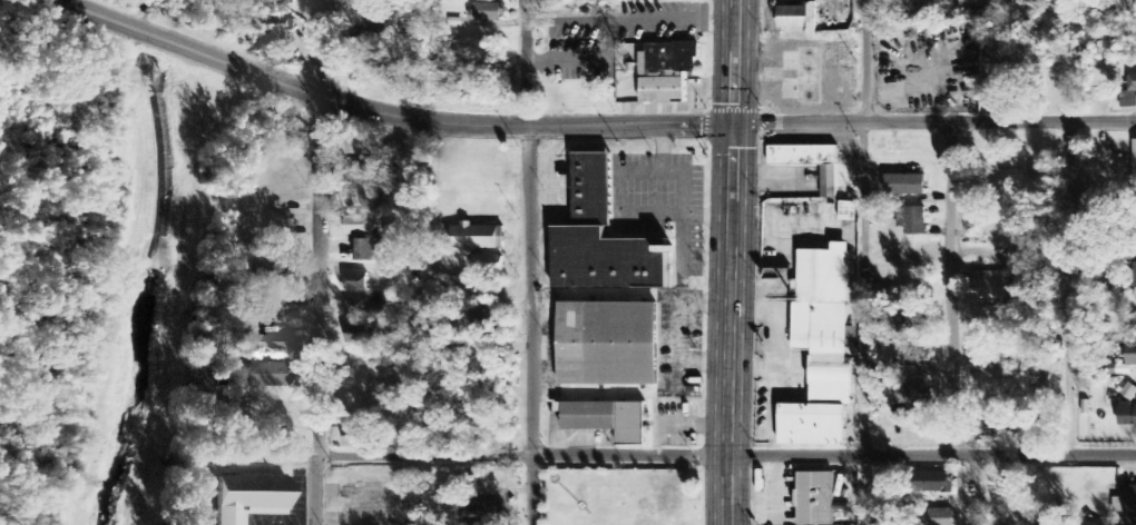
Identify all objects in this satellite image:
building: (660, 0)
building: (278, 3)
road: (96, 12)
building: (488, 12)
building: (797, 18)
building: (270, 26)
road: (143, 31)
road: (864, 61)
building: (666, 71)
building: (1129, 93)
road: (336, 95)
building: (1101, 97)
road: (933, 121)
traffic signals: (731, 122)
road: (629, 123)
building: (811, 160)
building: (1134, 169)
building: (360, 174)
building: (904, 186)
building: (849, 211)
building: (912, 220)
building: (1135, 226)
building: (359, 227)
building: (276, 234)
building: (604, 237)
building: (477, 238)
building: (368, 250)
road: (330, 262)
road: (530, 262)
road: (727, 262)
building: (488, 265)
building: (1135, 279)
building: (356, 281)
building: (989, 286)
road: (952, 288)
building: (363, 309)
building: (486, 318)
building: (1135, 320)
road: (863, 323)
building: (913, 326)
building: (610, 341)
building: (272, 344)
building: (824, 348)
building: (1130, 355)
building: (912, 363)
building: (270, 375)
building: (914, 398)
building: (609, 417)
building: (1127, 418)
building: (986, 427)
building: (354, 443)
road: (726, 454)
building: (933, 484)
building: (489, 489)
road: (977, 491)
building: (249, 495)
building: (815, 498)
building: (1127, 506)
building: (483, 513)
building: (940, 517)

